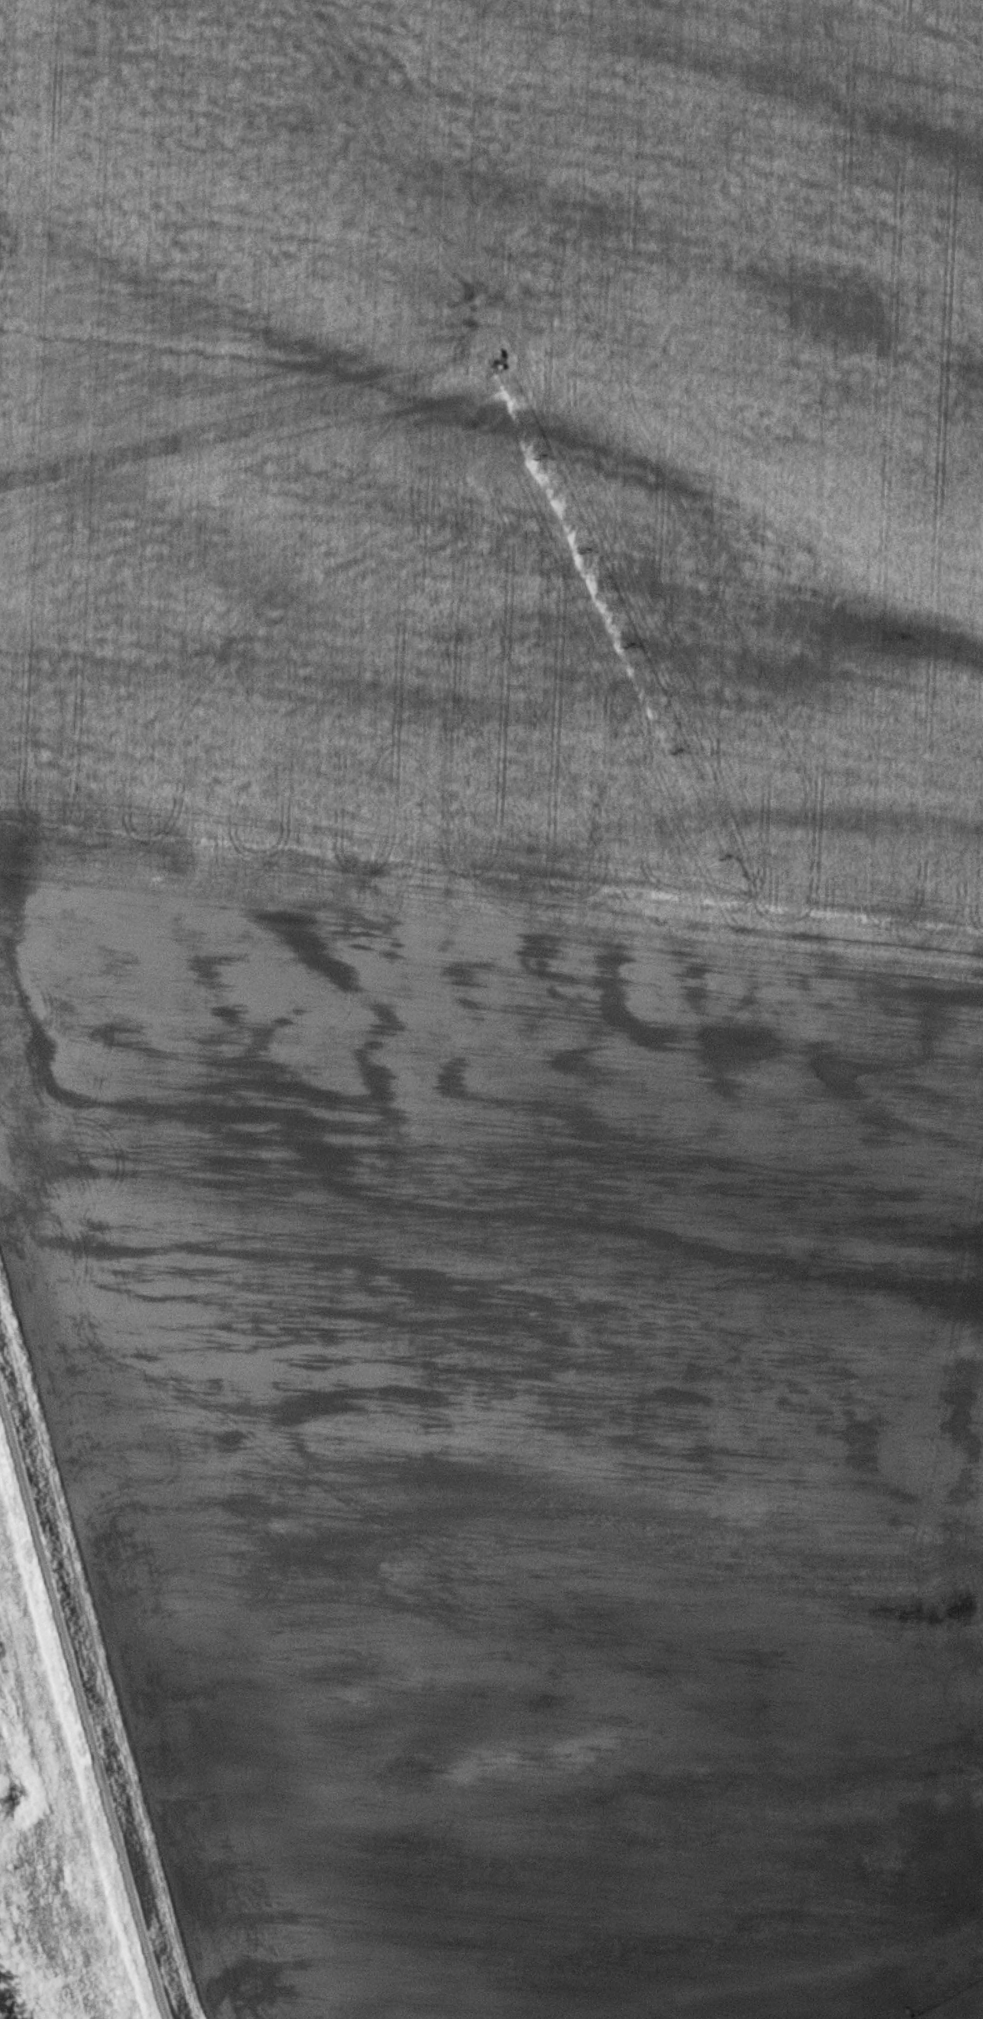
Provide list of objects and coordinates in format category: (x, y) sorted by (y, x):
road: (82, 1707)

